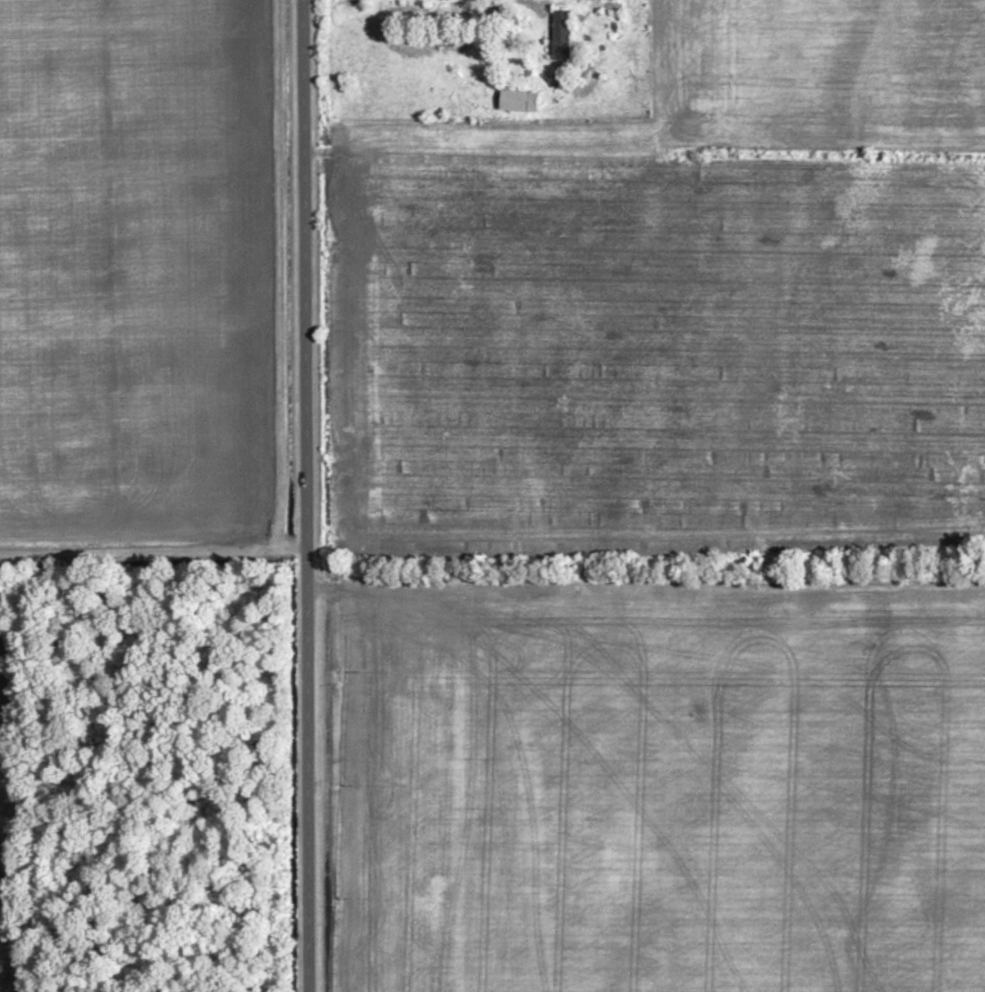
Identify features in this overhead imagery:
road: (555, 1)
building: (564, 30)
building: (521, 101)
road: (308, 495)

